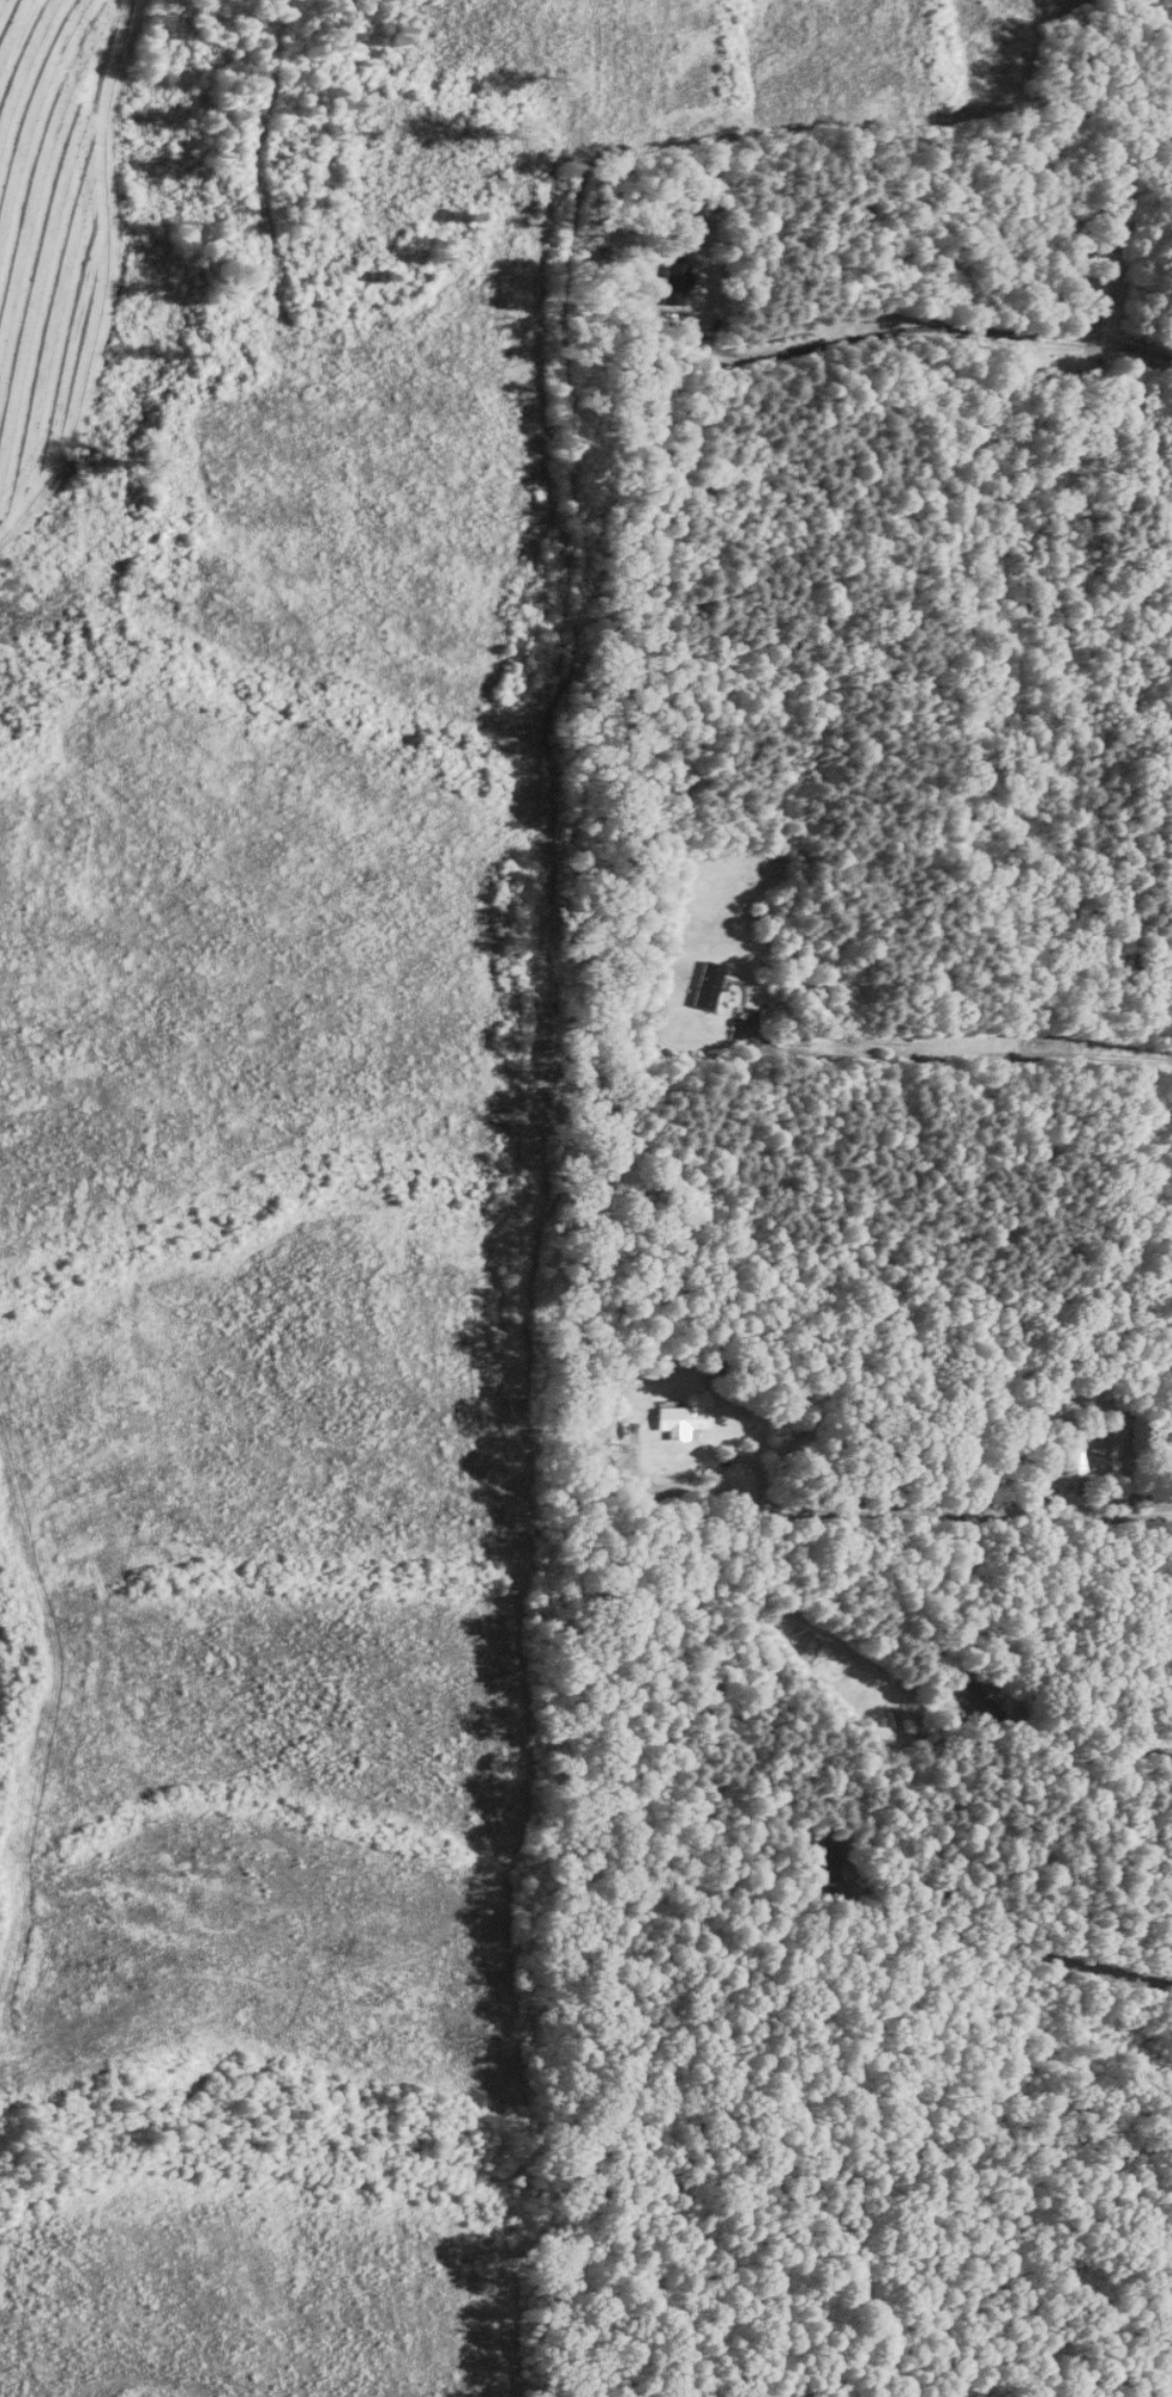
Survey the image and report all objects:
building: (1135, 187)
building: (1101, 276)
road: (1146, 347)
building: (710, 984)
road: (950, 1054)
building: (683, 1420)
building: (1066, 1448)
road: (952, 1517)
road: (1162, 1752)
building: (828, 1863)

